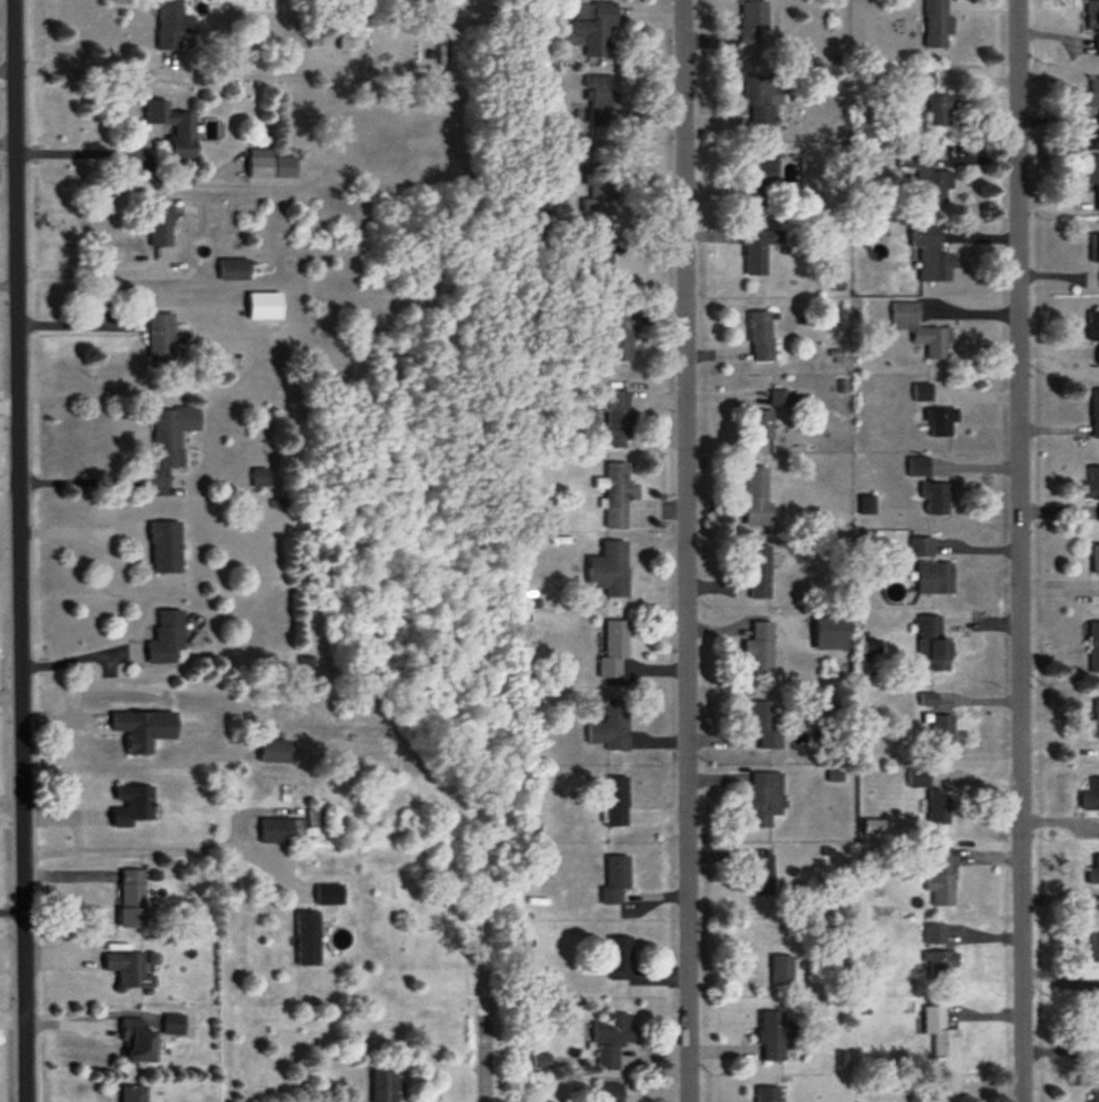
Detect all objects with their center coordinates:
building: (1091, 16)
building: (753, 23)
building: (936, 23)
building: (172, 24)
building: (592, 29)
building: (350, 34)
road: (91, 64)
building: (923, 80)
building: (1092, 95)
building: (763, 100)
building: (940, 111)
building: (173, 129)
building: (210, 130)
road: (8, 142)
road: (87, 149)
building: (866, 160)
building: (269, 166)
building: (1093, 174)
building: (926, 177)
building: (759, 181)
building: (598, 186)
building: (532, 206)
building: (159, 224)
building: (1095, 249)
building: (757, 252)
building: (932, 254)
building: (600, 267)
road: (88, 271)
building: (234, 271)
building: (264, 307)
building: (1093, 327)
building: (922, 331)
building: (619, 334)
building: (760, 337)
building: (160, 343)
building: (922, 392)
building: (779, 398)
building: (1096, 414)
building: (613, 420)
building: (943, 422)
building: (761, 425)
building: (171, 436)
building: (918, 467)
road: (10, 476)
road: (91, 482)
building: (1092, 486)
building: (617, 496)
building: (756, 498)
building: (935, 499)
road: (81, 532)
building: (164, 549)
building: (922, 549)
road: (20, 551)
road: (684, 551)
road: (1018, 551)
building: (1096, 560)
building: (609, 571)
building: (759, 573)
building: (935, 579)
building: (831, 634)
building: (166, 641)
building: (934, 645)
building: (760, 649)
building: (1095, 649)
building: (613, 653)
road: (11, 693)
building: (1096, 721)
building: (764, 726)
building: (611, 728)
building: (143, 731)
building: (943, 732)
building: (274, 752)
building: (918, 777)
building: (1091, 796)
building: (764, 798)
building: (615, 803)
building: (132, 805)
building: (938, 807)
building: (279, 829)
road: (156, 844)
building: (1095, 871)
building: (761, 874)
building: (942, 876)
building: (617, 880)
building: (328, 895)
building: (130, 898)
building: (936, 935)
building: (306, 938)
building: (1095, 948)
building: (620, 958)
building: (942, 963)
building: (781, 969)
building: (128, 970)
building: (1097, 1026)
building: (940, 1032)
building: (771, 1037)
building: (610, 1039)
building: (138, 1041)
building: (384, 1085)
building: (609, 1093)
building: (134, 1094)
building: (767, 1094)
building: (1096, 1095)

